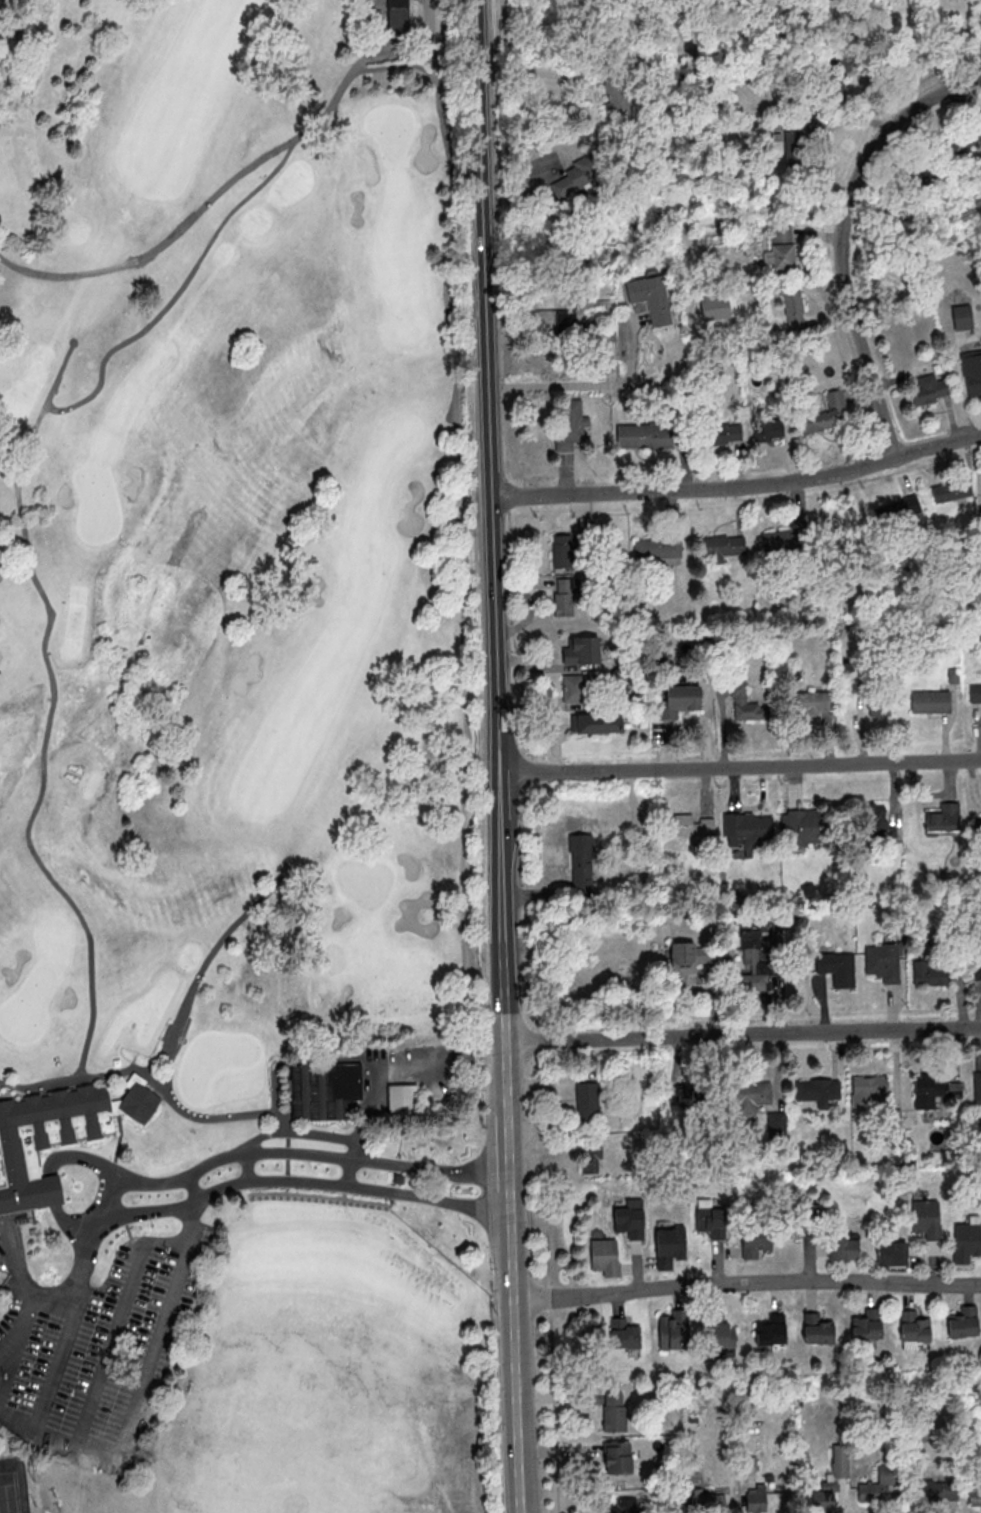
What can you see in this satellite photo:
building: (398, 17)
building: (830, 85)
building: (616, 95)
building: (795, 137)
building: (961, 144)
building: (924, 172)
building: (574, 179)
road: (839, 236)
building: (781, 249)
building: (651, 298)
building: (794, 309)
building: (555, 321)
building: (972, 373)
road: (487, 384)
road: (584, 386)
building: (929, 391)
building: (828, 414)
building: (570, 423)
building: (768, 429)
building: (725, 433)
building: (643, 435)
road: (738, 488)
building: (965, 489)
building: (892, 514)
building: (780, 542)
building: (721, 547)
building: (562, 550)
building: (658, 550)
building: (563, 596)
road: (465, 614)
building: (582, 650)
building: (573, 688)
building: (677, 693)
building: (928, 700)
building: (977, 700)
building: (744, 702)
building: (814, 702)
building: (880, 704)
building: (597, 722)
road: (740, 767)
park: (235, 768)
road: (499, 794)
building: (873, 817)
building: (943, 817)
building: (690, 825)
building: (977, 826)
building: (806, 827)
building: (745, 828)
building: (581, 863)
building: (689, 961)
building: (883, 961)
building: (753, 963)
road: (504, 965)
building: (838, 967)
building: (930, 973)
building: (977, 974)
road: (743, 1034)
building: (977, 1086)
building: (865, 1087)
building: (815, 1088)
building: (324, 1090)
building: (934, 1090)
building: (746, 1094)
building: (402, 1098)
building: (587, 1101)
building: (688, 1102)
building: (776, 1120)
building: (55, 1135)
road: (511, 1150)
building: (591, 1158)
road: (261, 1170)
building: (630, 1218)
building: (926, 1219)
building: (715, 1225)
building: (967, 1240)
building: (756, 1243)
building: (669, 1246)
building: (843, 1248)
building: (892, 1254)
building: (605, 1256)
building: (1, 1277)
road: (748, 1282)
road: (27, 1307)
building: (964, 1322)
building: (911, 1325)
building: (862, 1327)
building: (671, 1328)
building: (814, 1328)
building: (716, 1329)
building: (772, 1330)
building: (624, 1333)
road: (518, 1350)
parking lot: (64, 1398)
building: (614, 1411)
road: (14, 1427)
road: (119, 1433)
building: (617, 1456)
building: (840, 1462)
park: (12, 1487)
building: (880, 1487)
building: (938, 1489)
building: (974, 1497)
building: (822, 1498)
building: (708, 1501)
building: (756, 1501)
building: (619, 1505)

